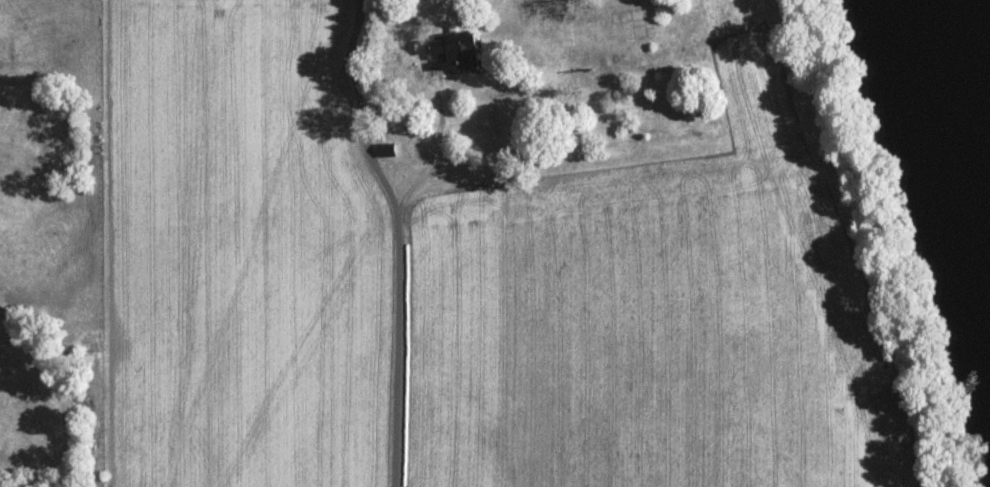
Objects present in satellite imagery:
road: (406, 237)

